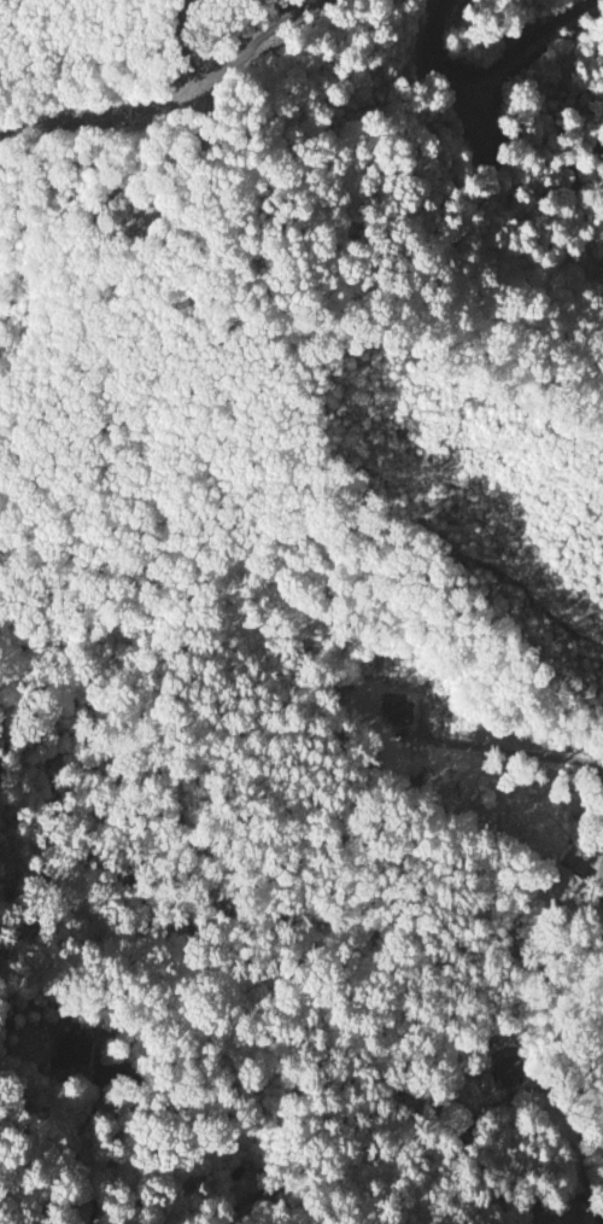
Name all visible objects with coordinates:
road: (185, 42)
road: (497, 69)
road: (171, 95)
building: (390, 704)
road: (513, 750)
building: (563, 882)
building: (75, 1048)
building: (509, 1069)
road: (510, 1177)

